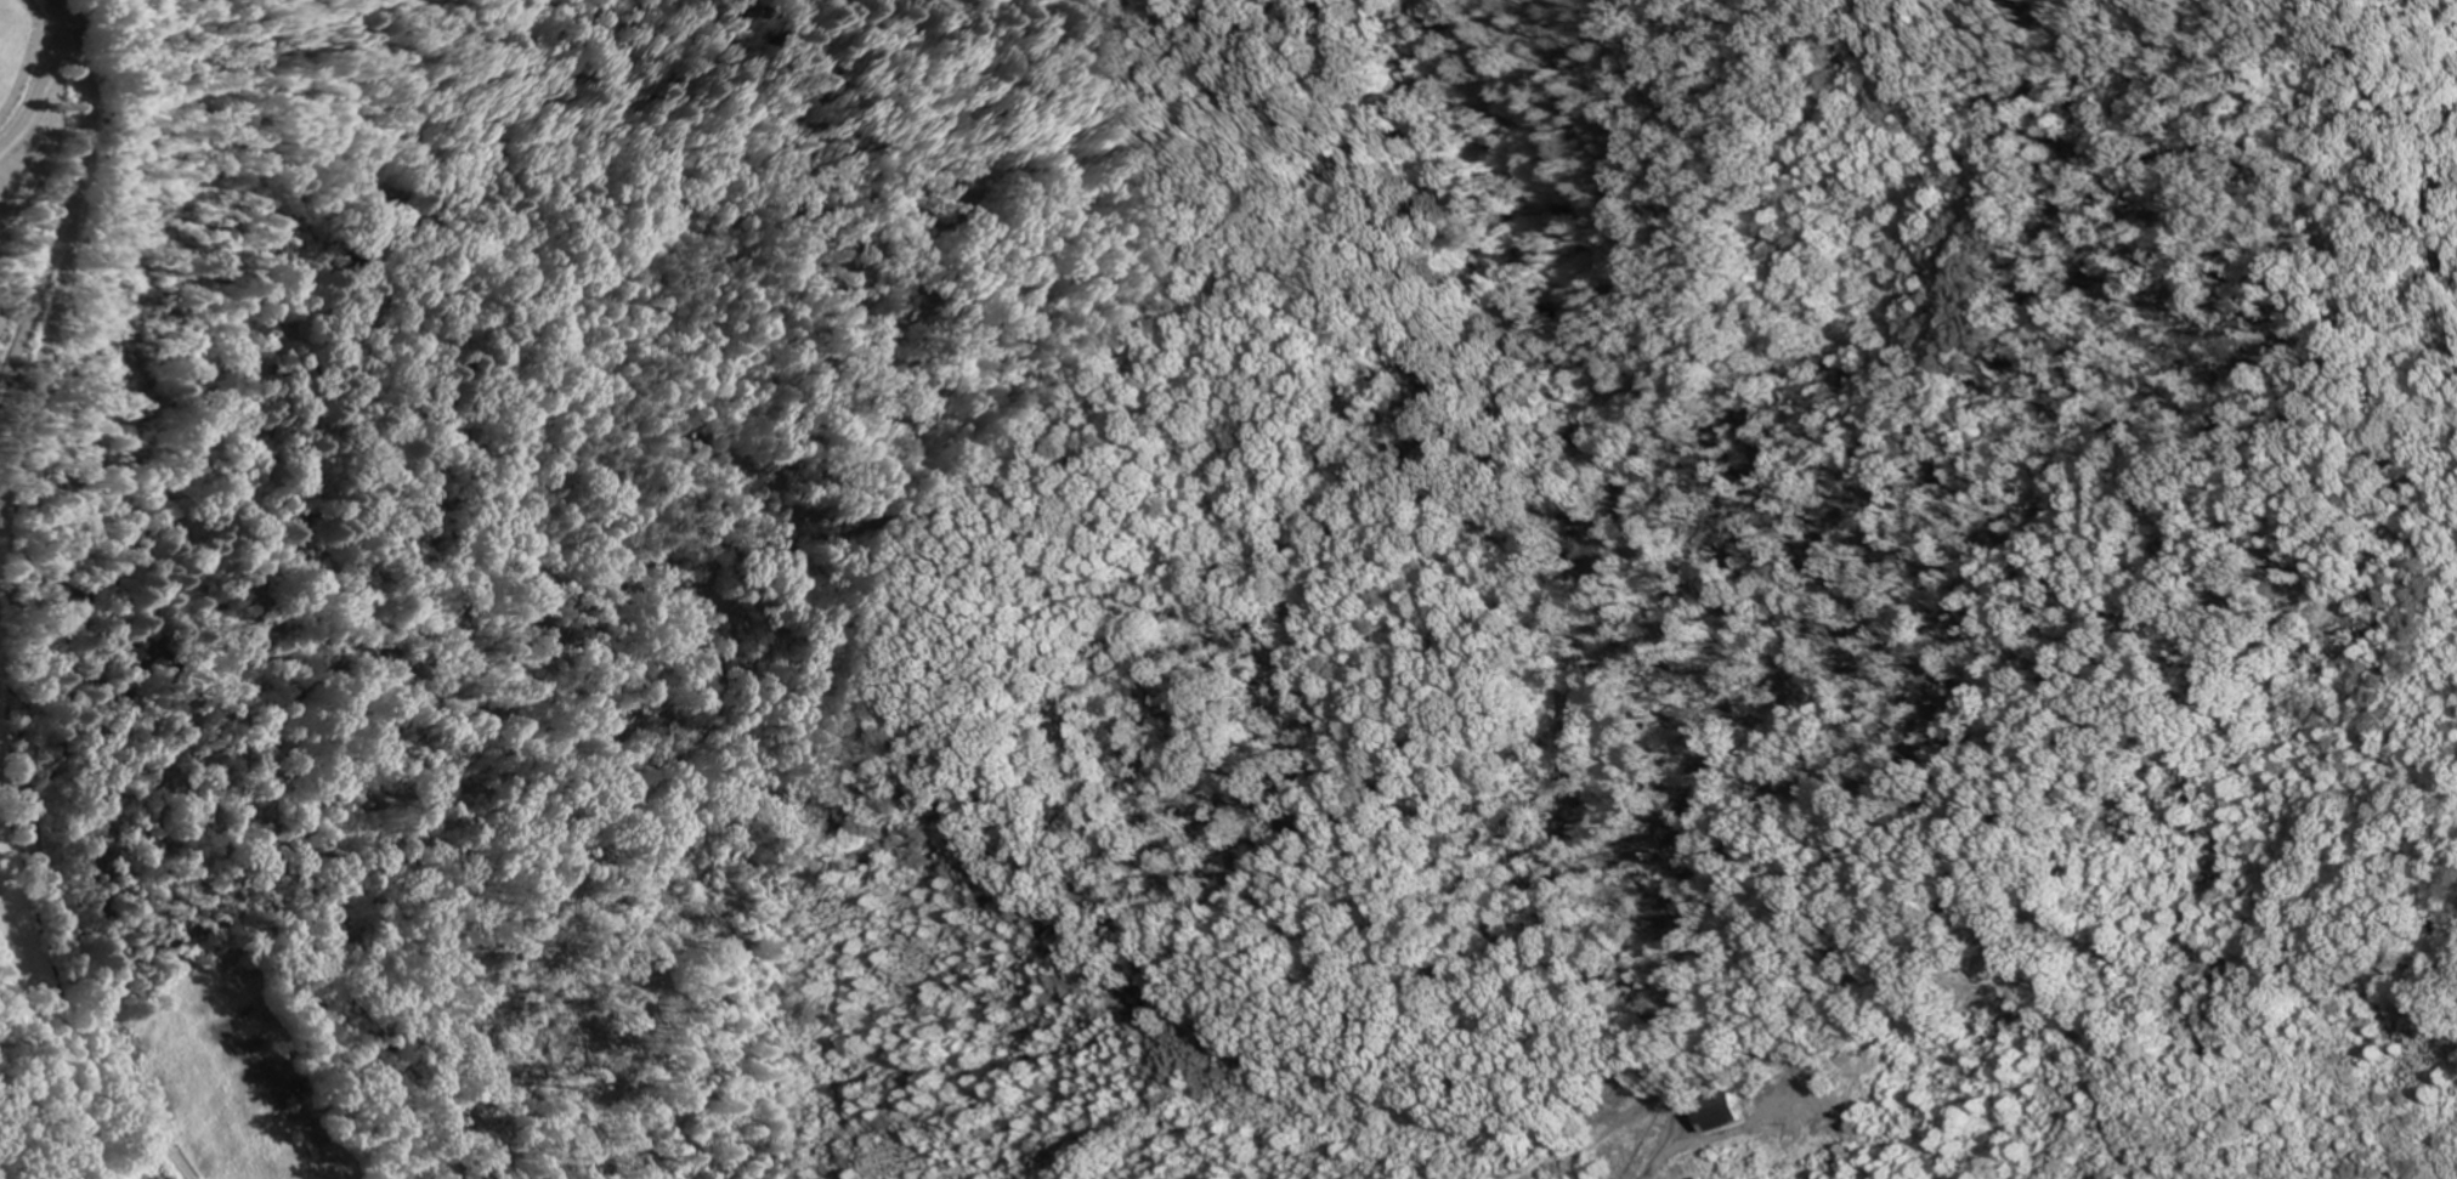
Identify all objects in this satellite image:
road: (68, 255)
road: (1, 747)
road: (81, 957)
building: (1720, 1113)

